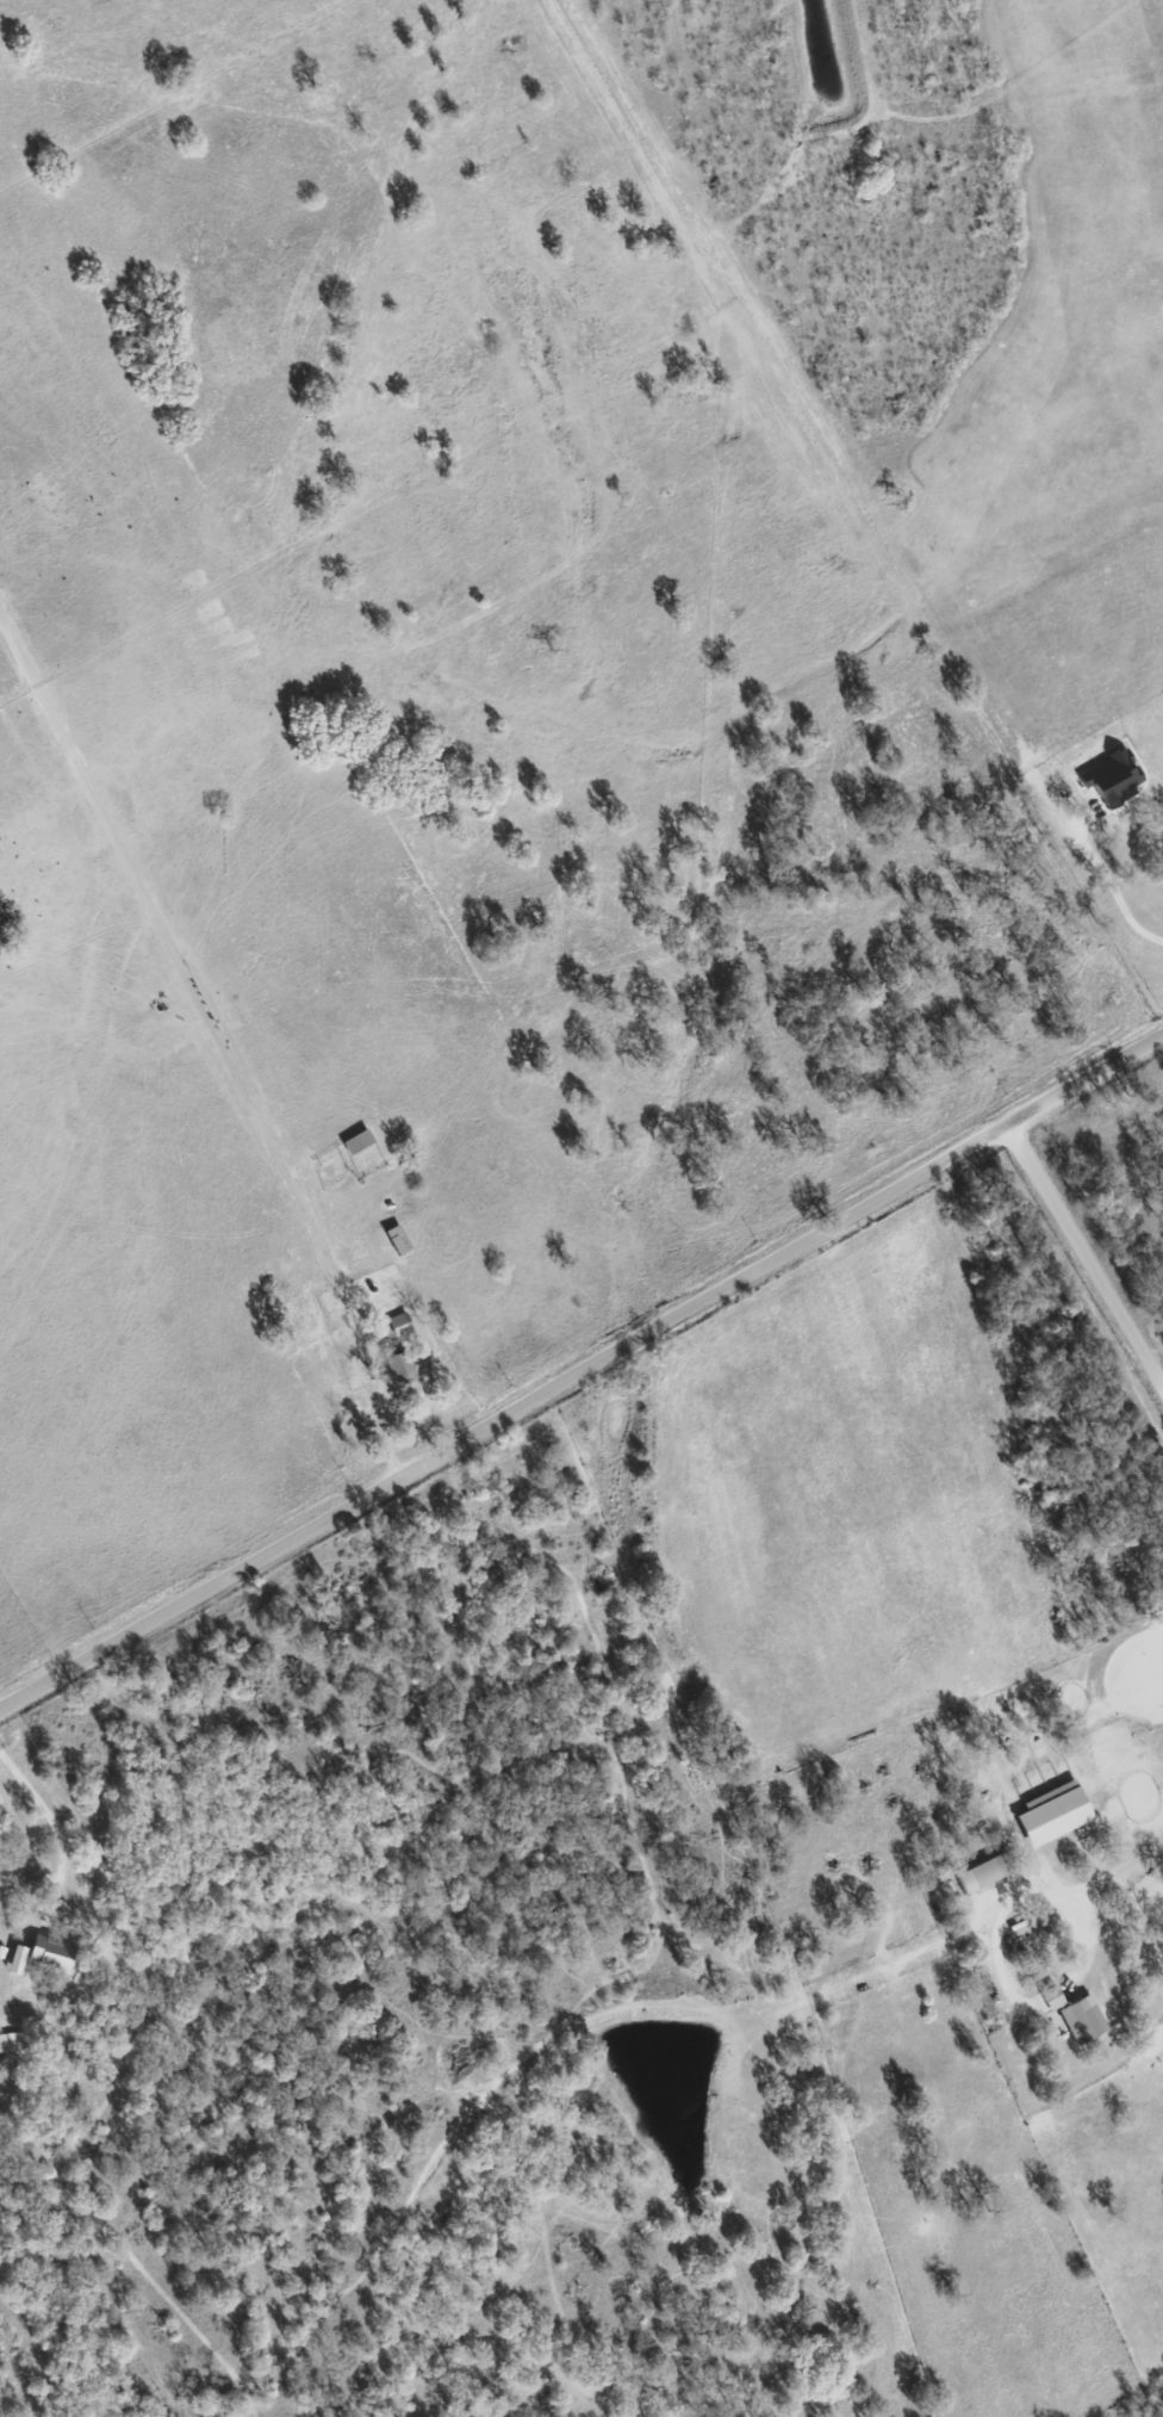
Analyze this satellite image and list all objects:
building: (1102, 780)
road: (1108, 882)
building: (352, 1141)
road: (1087, 1248)
building: (396, 1325)
building: (394, 1364)
road: (580, 1368)
building: (1043, 1814)
road: (55, 1829)
road: (1122, 1873)
building: (972, 1874)
building: (46, 1952)
building: (13, 1959)
building: (1043, 1998)
building: (1074, 2019)
building: (8, 2043)

